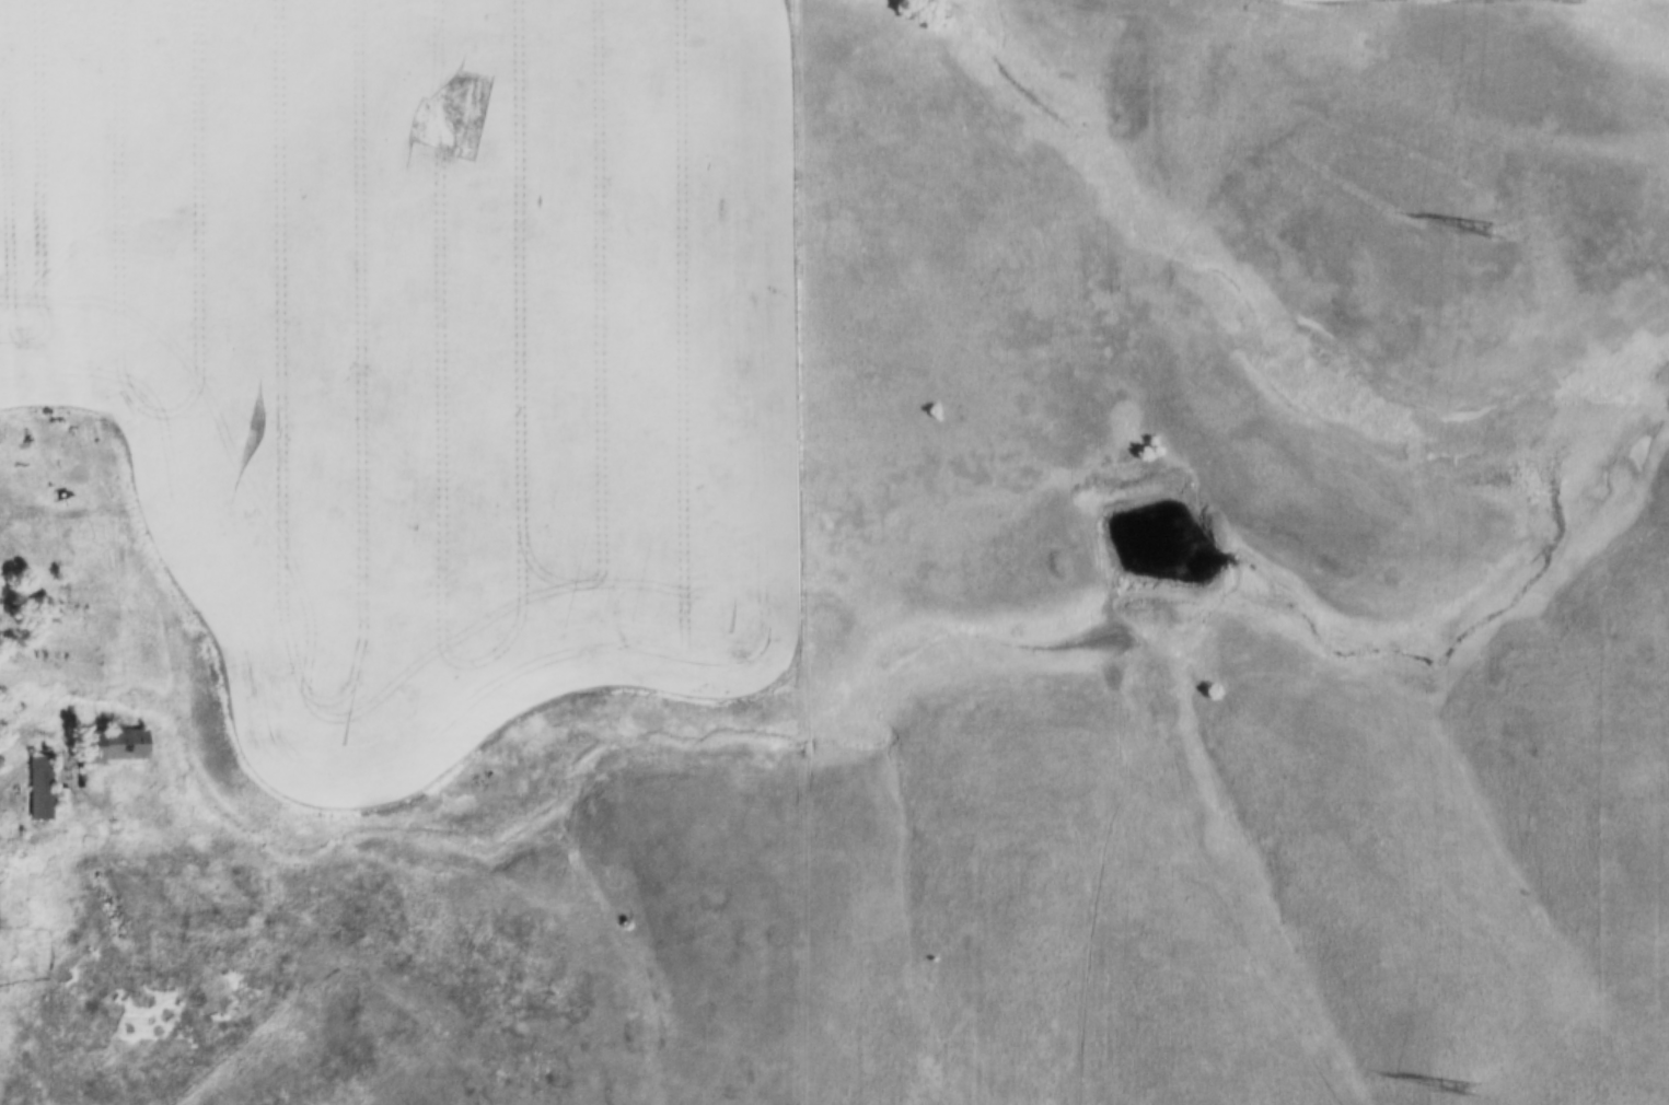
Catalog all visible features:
power tower: (1496, 230)
building: (111, 744)
building: (43, 784)
power tower: (1470, 1087)

